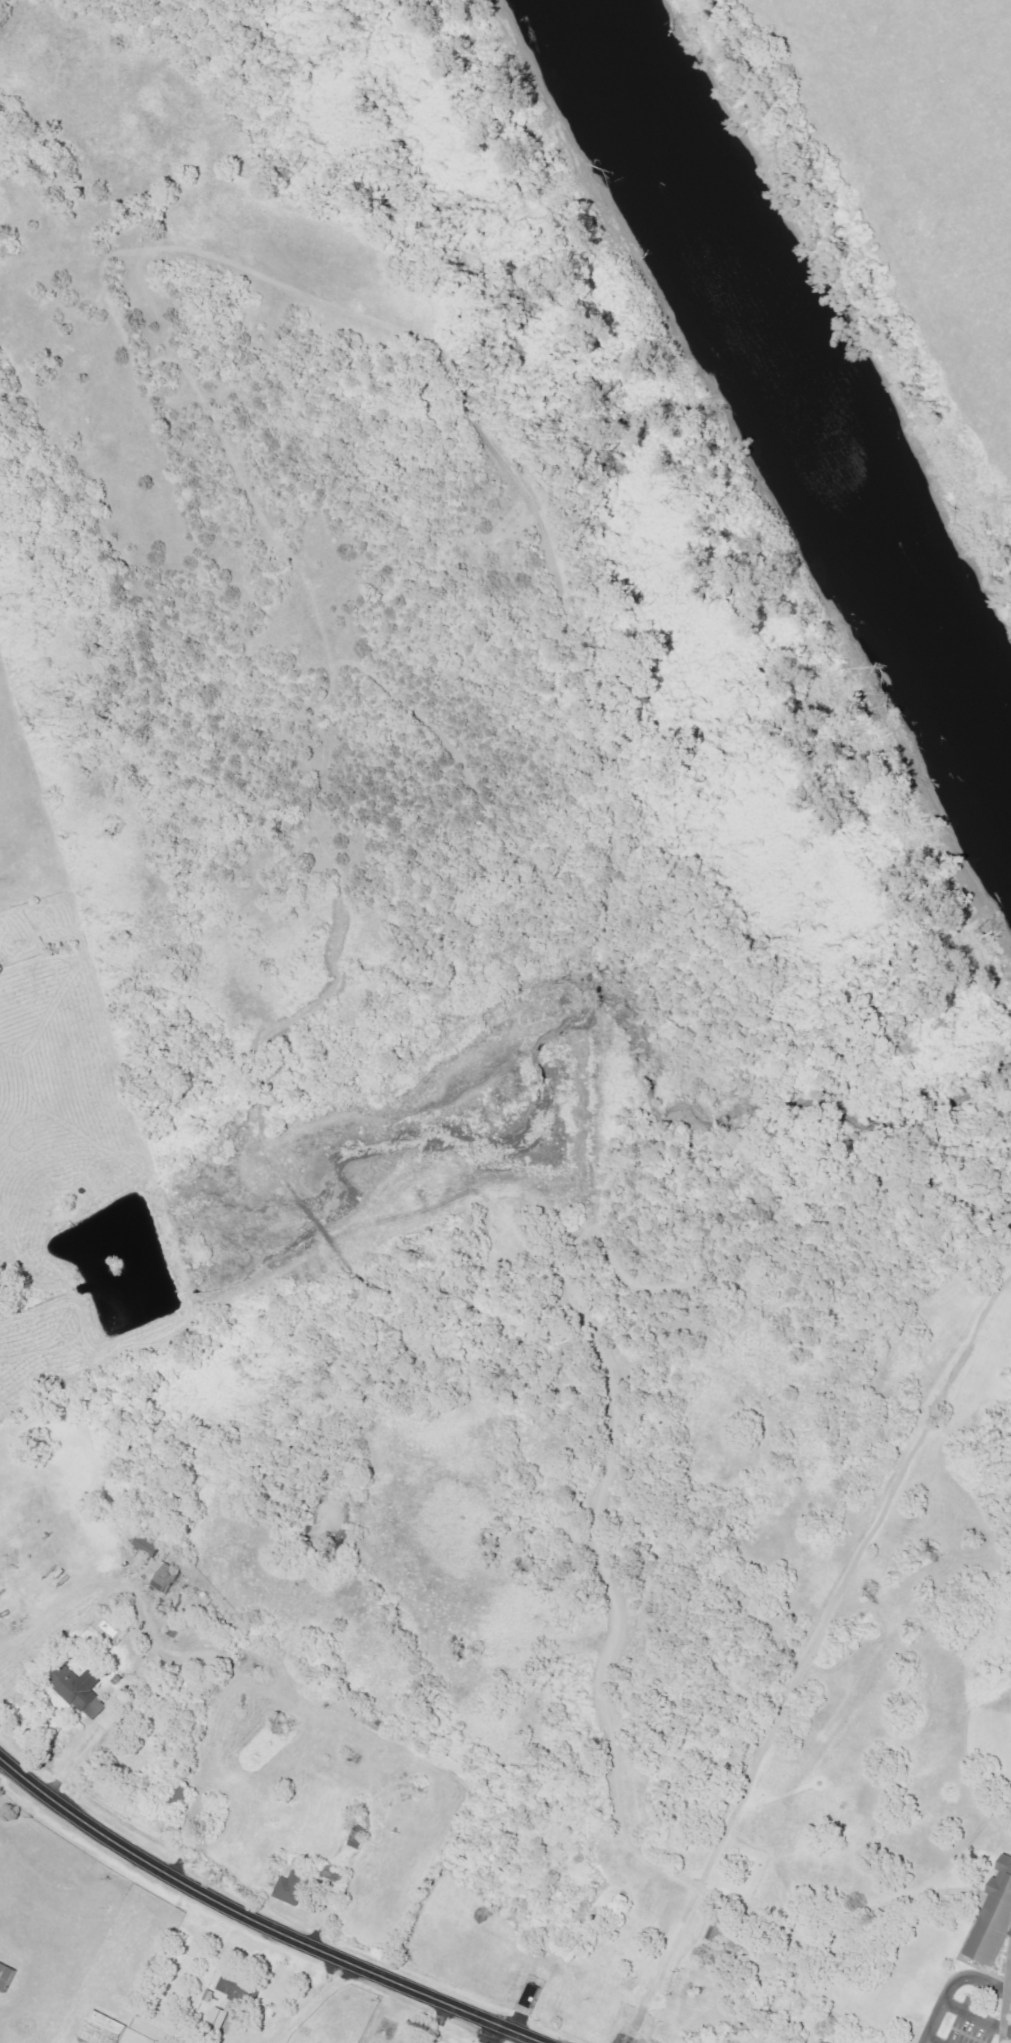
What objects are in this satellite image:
road: (138, 242)
river: (801, 348)
park: (518, 1011)
road: (639, 1285)
building: (170, 1577)
road: (808, 1659)
building: (85, 1692)
road: (607, 1704)
road: (83, 1754)
building: (334, 1875)
building: (291, 1887)
building: (991, 1916)
road: (259, 1920)
building: (713, 1921)
building: (9, 1976)
road: (950, 1984)
road: (317, 2005)
building: (216, 2019)
road: (975, 2019)
parking lot: (964, 2020)
building: (101, 2029)
road: (193, 2041)
road: (928, 2041)

